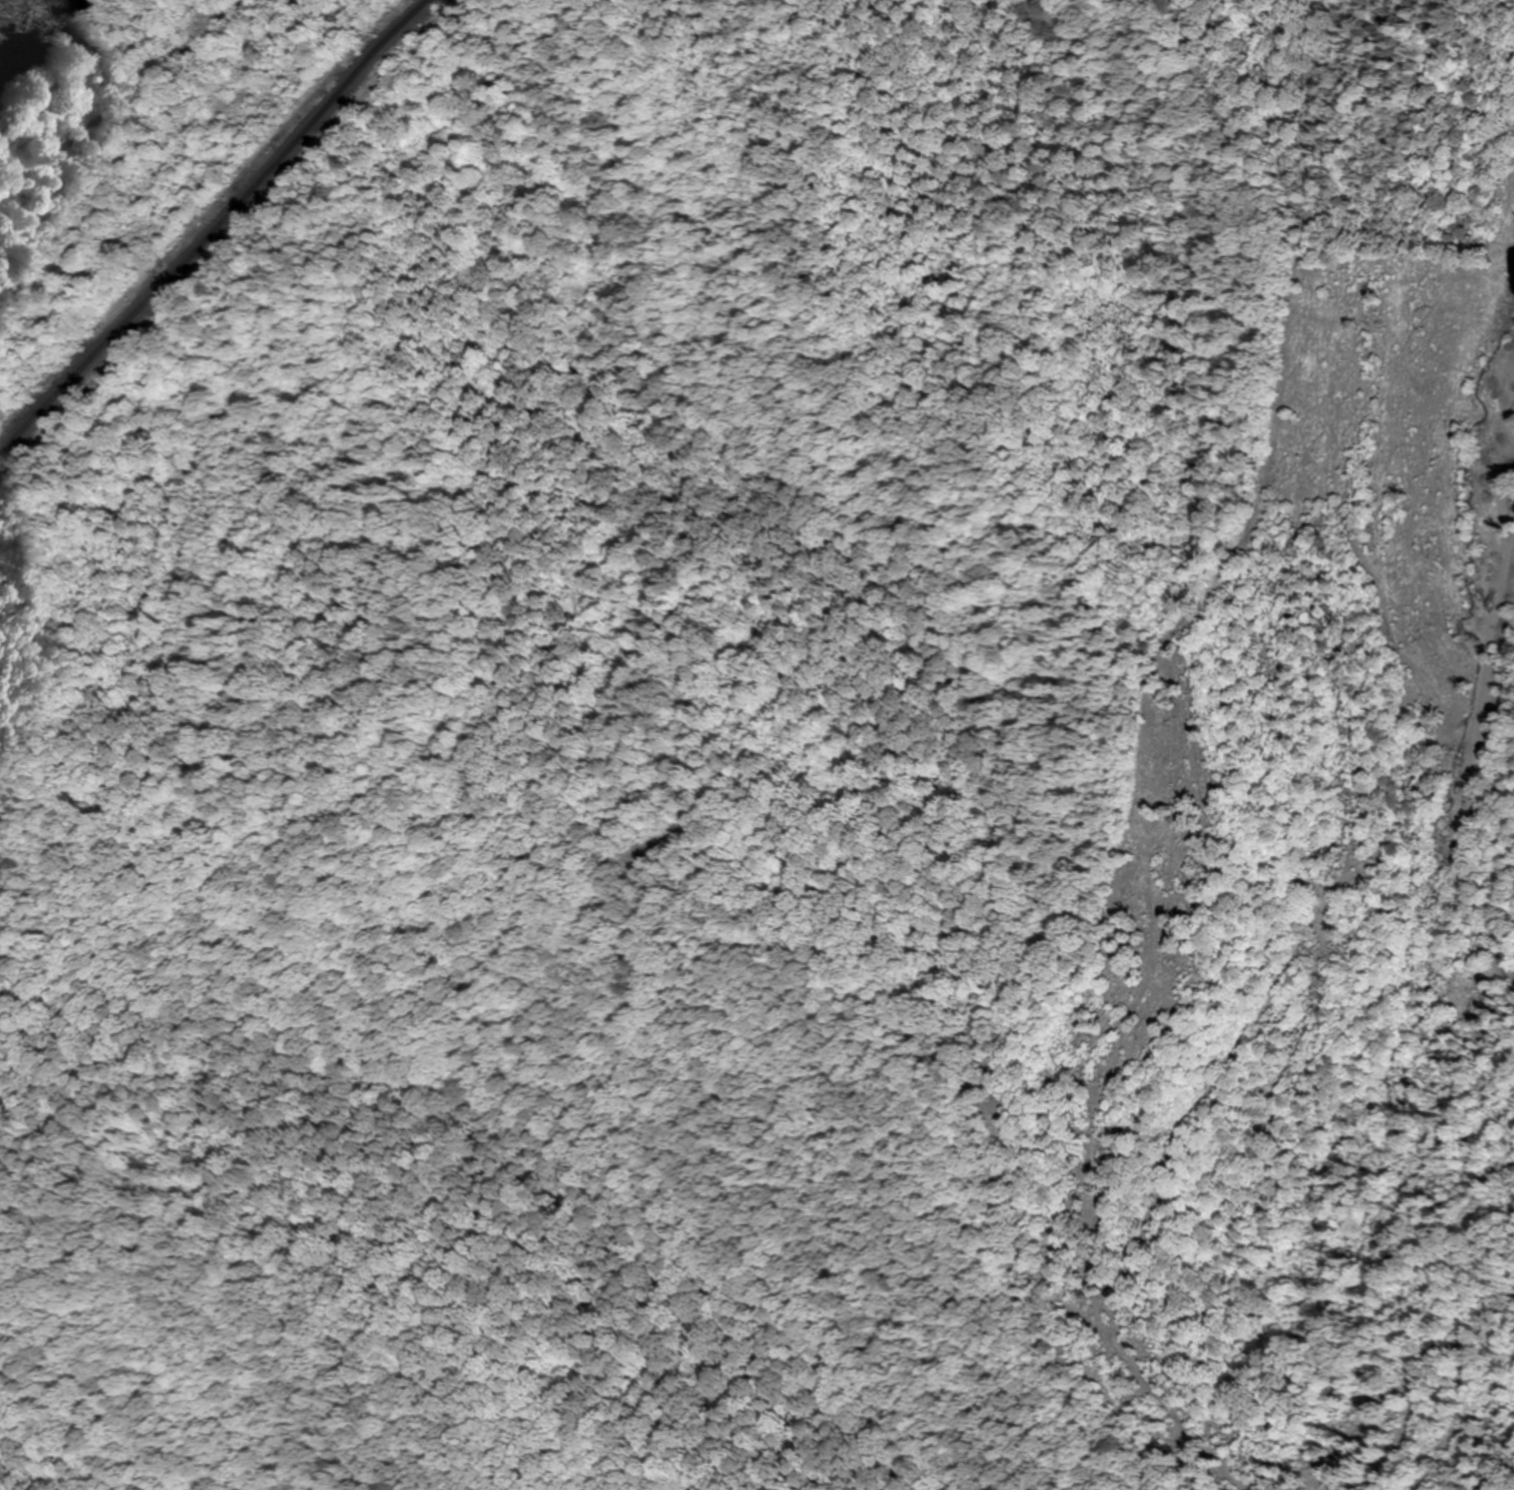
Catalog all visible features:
river: (8, 6)
railway: (215, 225)

